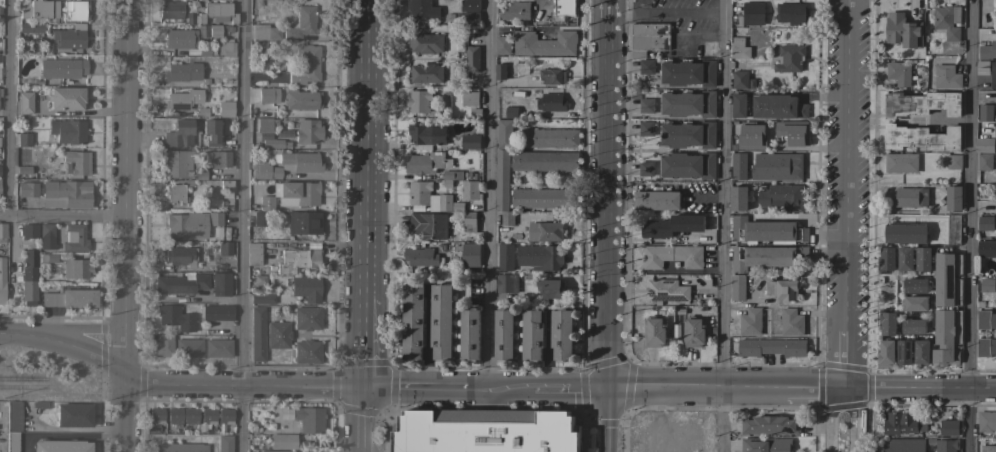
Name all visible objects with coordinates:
building: (470, 5)
building: (565, 7)
building: (41, 9)
building: (170, 9)
building: (422, 9)
building: (75, 10)
building: (217, 11)
building: (515, 11)
road: (665, 12)
building: (753, 13)
building: (792, 13)
building: (469, 19)
building: (947, 21)
building: (302, 22)
building: (31, 27)
building: (203, 30)
building: (215, 30)
building: (738, 31)
building: (903, 31)
building: (265, 32)
building: (180, 38)
building: (647, 38)
building: (67, 39)
building: (425, 43)
building: (544, 44)
building: (502, 45)
building: (986, 45)
building: (227, 47)
building: (709, 48)
building: (738, 49)
building: (789, 58)
building: (472, 60)
building: (306, 64)
building: (646, 66)
building: (255, 67)
building: (60, 68)
building: (982, 68)
building: (183, 71)
building: (500, 72)
building: (898, 72)
building: (425, 73)
building: (688, 73)
building: (993, 75)
building: (552, 76)
building: (946, 77)
building: (739, 80)
building: (0, 92)
building: (267, 94)
building: (68, 98)
building: (469, 98)
building: (183, 99)
building: (302, 99)
building: (419, 101)
building: (24, 102)
building: (551, 102)
building: (688, 103)
building: (922, 104)
building: (646, 106)
building: (738, 106)
road: (7, 107)
building: (777, 107)
building: (225, 108)
building: (511, 112)
building: (984, 112)
building: (265, 124)
building: (646, 128)
building: (68, 130)
building: (213, 131)
building: (307, 131)
building: (180, 133)
building: (792, 133)
building: (503, 134)
building: (426, 135)
building: (688, 135)
building: (751, 136)
building: (921, 137)
building: (549, 138)
building: (24, 139)
building: (470, 142)
building: (275, 143)
road: (368, 146)
building: (983, 146)
building: (217, 158)
building: (78, 161)
building: (297, 161)
building: (545, 161)
building: (177, 162)
building: (954, 162)
building: (984, 162)
building: (426, 163)
building: (901, 163)
building: (737, 164)
building: (688, 166)
building: (789, 167)
building: (646, 168)
building: (264, 170)
building: (200, 173)
building: (451, 177)
building: (227, 185)
road: (126, 188)
building: (502, 188)
building: (28, 189)
building: (470, 190)
building: (300, 192)
building: (66, 193)
building: (176, 193)
building: (418, 193)
road: (487, 194)
road: (606, 195)
road: (847, 195)
building: (911, 197)
building: (544, 198)
building: (738, 198)
building: (782, 198)
building: (953, 198)
building: (657, 200)
building: (266, 202)
building: (445, 202)
road: (63, 215)
building: (215, 218)
building: (261, 218)
building: (469, 221)
building: (303, 222)
building: (985, 222)
building: (187, 225)
road: (240, 226)
building: (429, 226)
road: (722, 226)
road: (966, 226)
building: (3, 229)
building: (657, 229)
building: (953, 229)
building: (766, 230)
building: (29, 231)
building: (545, 232)
building: (905, 233)
building: (47, 235)
building: (75, 237)
building: (225, 248)
building: (985, 249)
building: (253, 252)
building: (181, 255)
building: (470, 255)
building: (505, 256)
building: (672, 256)
building: (766, 256)
building: (48, 257)
building: (421, 257)
building: (540, 257)
building: (904, 259)
building: (922, 259)
building: (298, 260)
building: (885, 260)
building: (76, 268)
building: (29, 277)
building: (258, 279)
building: (943, 279)
building: (2, 280)
building: (181, 283)
building: (221, 283)
building: (506, 283)
building: (914, 285)
building: (987, 285)
building: (306, 288)
building: (737, 288)
building: (782, 289)
building: (551, 290)
building: (666, 291)
building: (265, 295)
building: (70, 298)
building: (915, 303)
building: (217, 311)
building: (176, 317)
building: (307, 318)
building: (985, 320)
building: (413, 321)
building: (442, 322)
building: (750, 322)
building: (790, 322)
building: (887, 324)
building: (912, 326)
road: (78, 327)
building: (653, 332)
building: (692, 332)
building: (257, 334)
building: (278, 334)
building: (532, 334)
building: (562, 334)
building: (470, 335)
building: (504, 335)
road: (17, 336)
road: (366, 339)
building: (164, 344)
building: (189, 347)
building: (218, 347)
building: (771, 347)
building: (986, 347)
road: (81, 349)
building: (307, 351)
building: (885, 352)
building: (903, 352)
building: (920, 352)
railway: (24, 378)
road: (243, 385)
railway: (26, 386)
traffic signals: (366, 387)
road: (486, 388)
traffic signals: (606, 390)
road: (726, 390)
road: (921, 391)
road: (486, 400)
building: (73, 414)
road: (121, 414)
building: (156, 415)
building: (174, 415)
building: (190, 415)
building: (208, 415)
building: (225, 415)
road: (829, 418)
building: (309, 419)
road: (365, 419)
road: (606, 421)
road: (850, 421)
building: (986, 421)
building: (901, 423)
building: (13, 425)
building: (770, 425)
building: (948, 428)
building: (486, 434)
building: (283, 441)
building: (224, 443)
building: (765, 444)
building: (904, 445)
building: (946, 445)
building: (985, 445)
building: (61, 446)
building: (181, 447)
building: (274, 450)
road: (829, 451)

